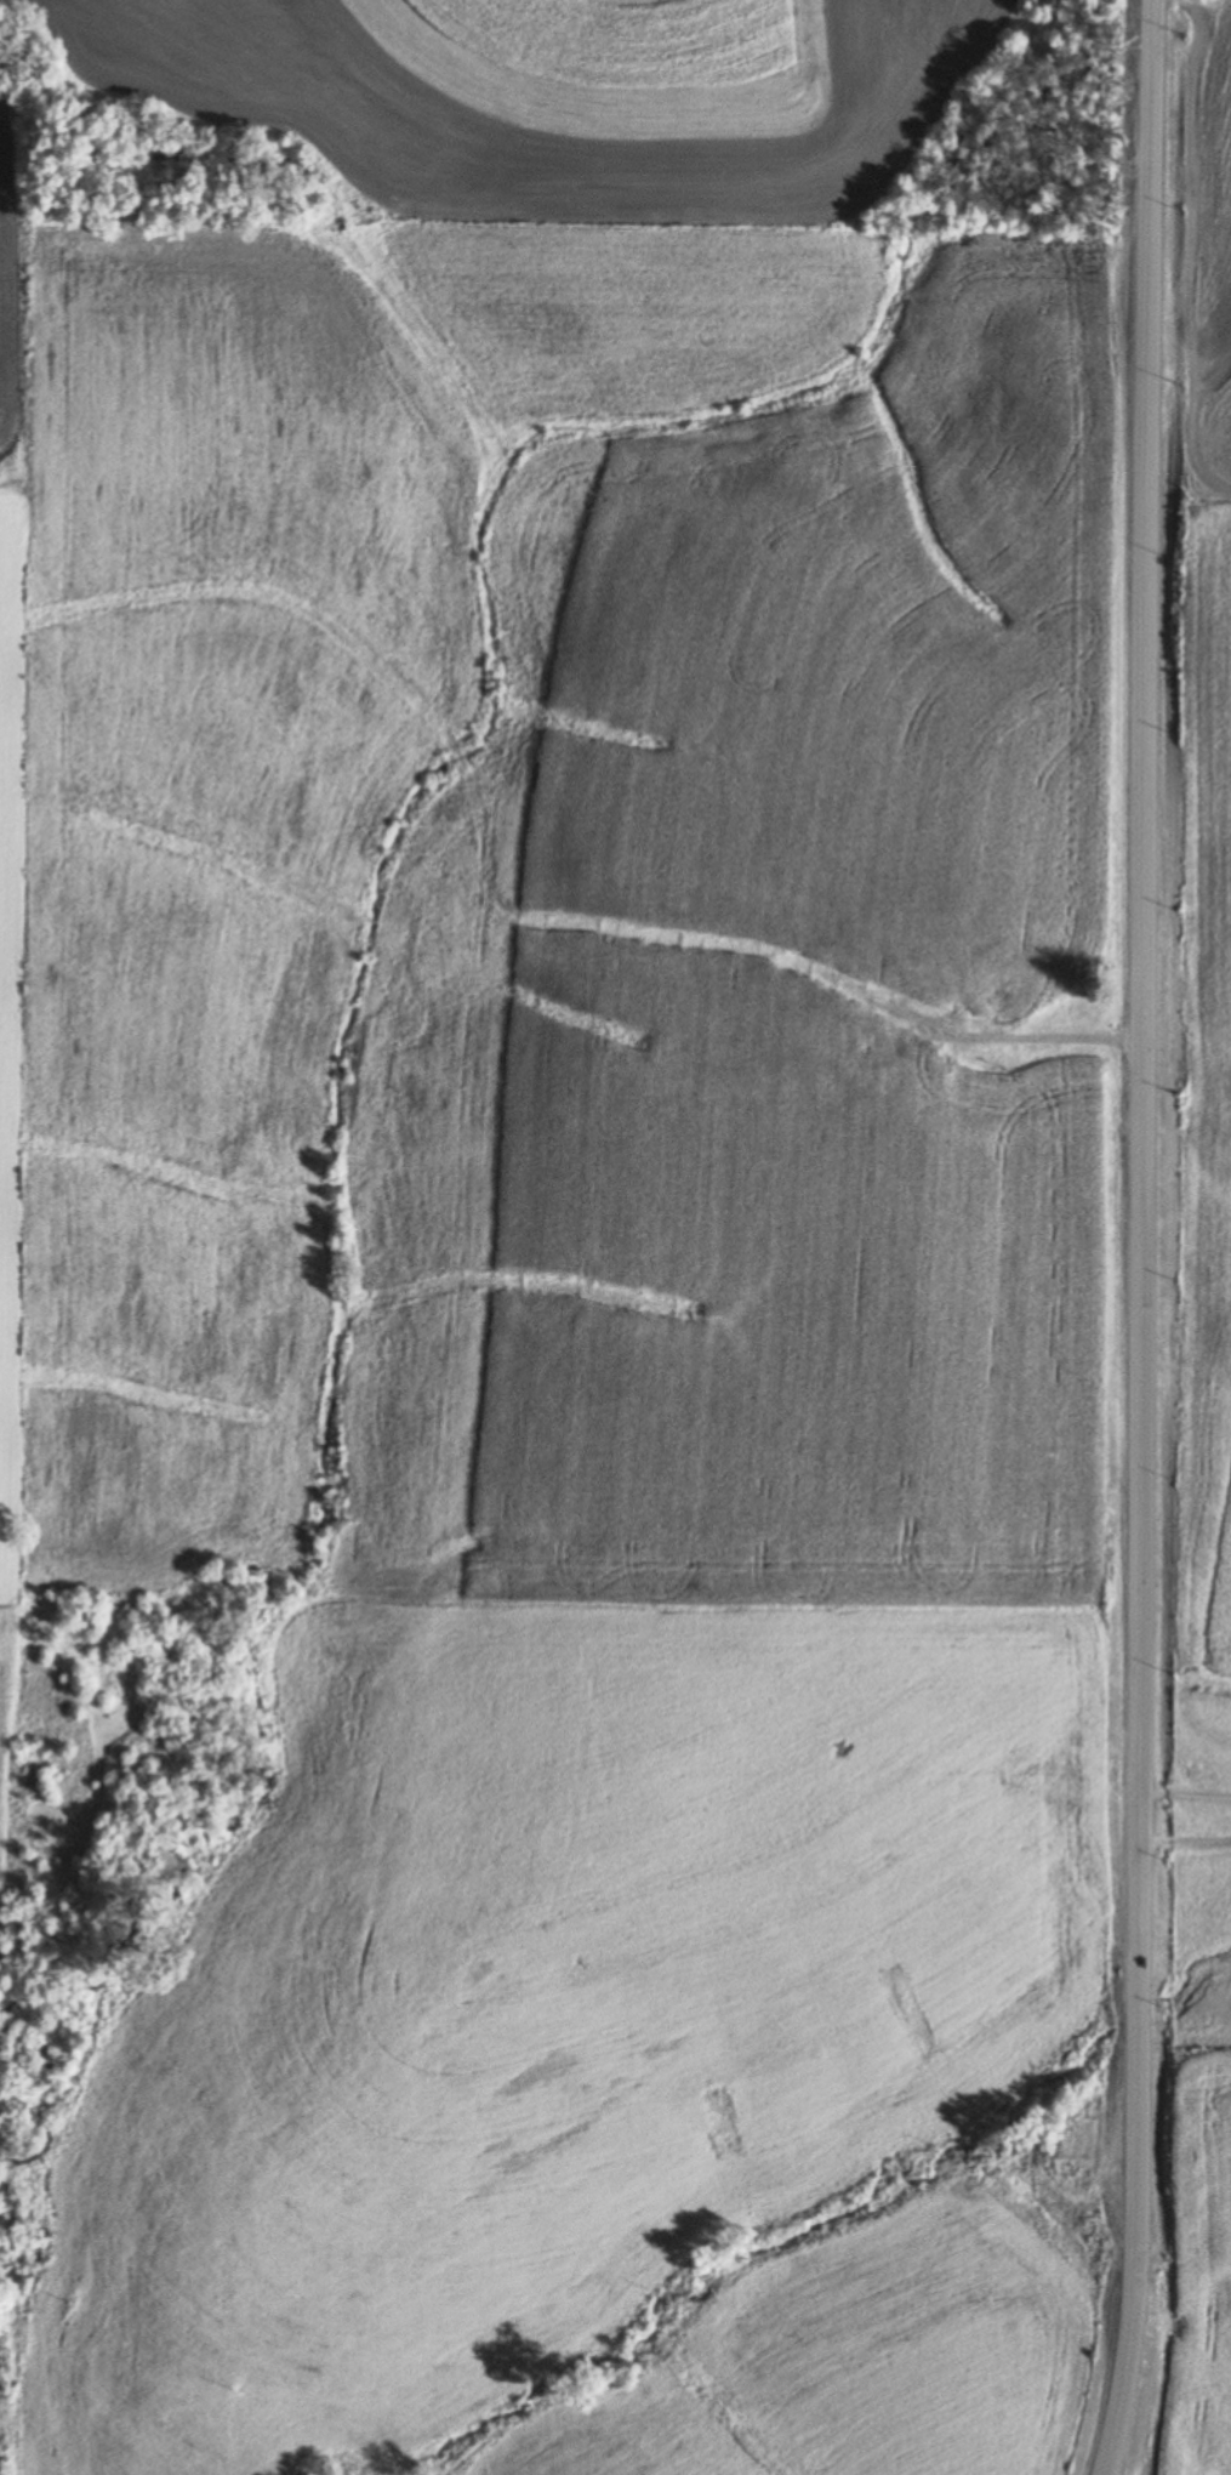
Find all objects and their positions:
road: (1136, 1239)
road: (1182, 1794)

